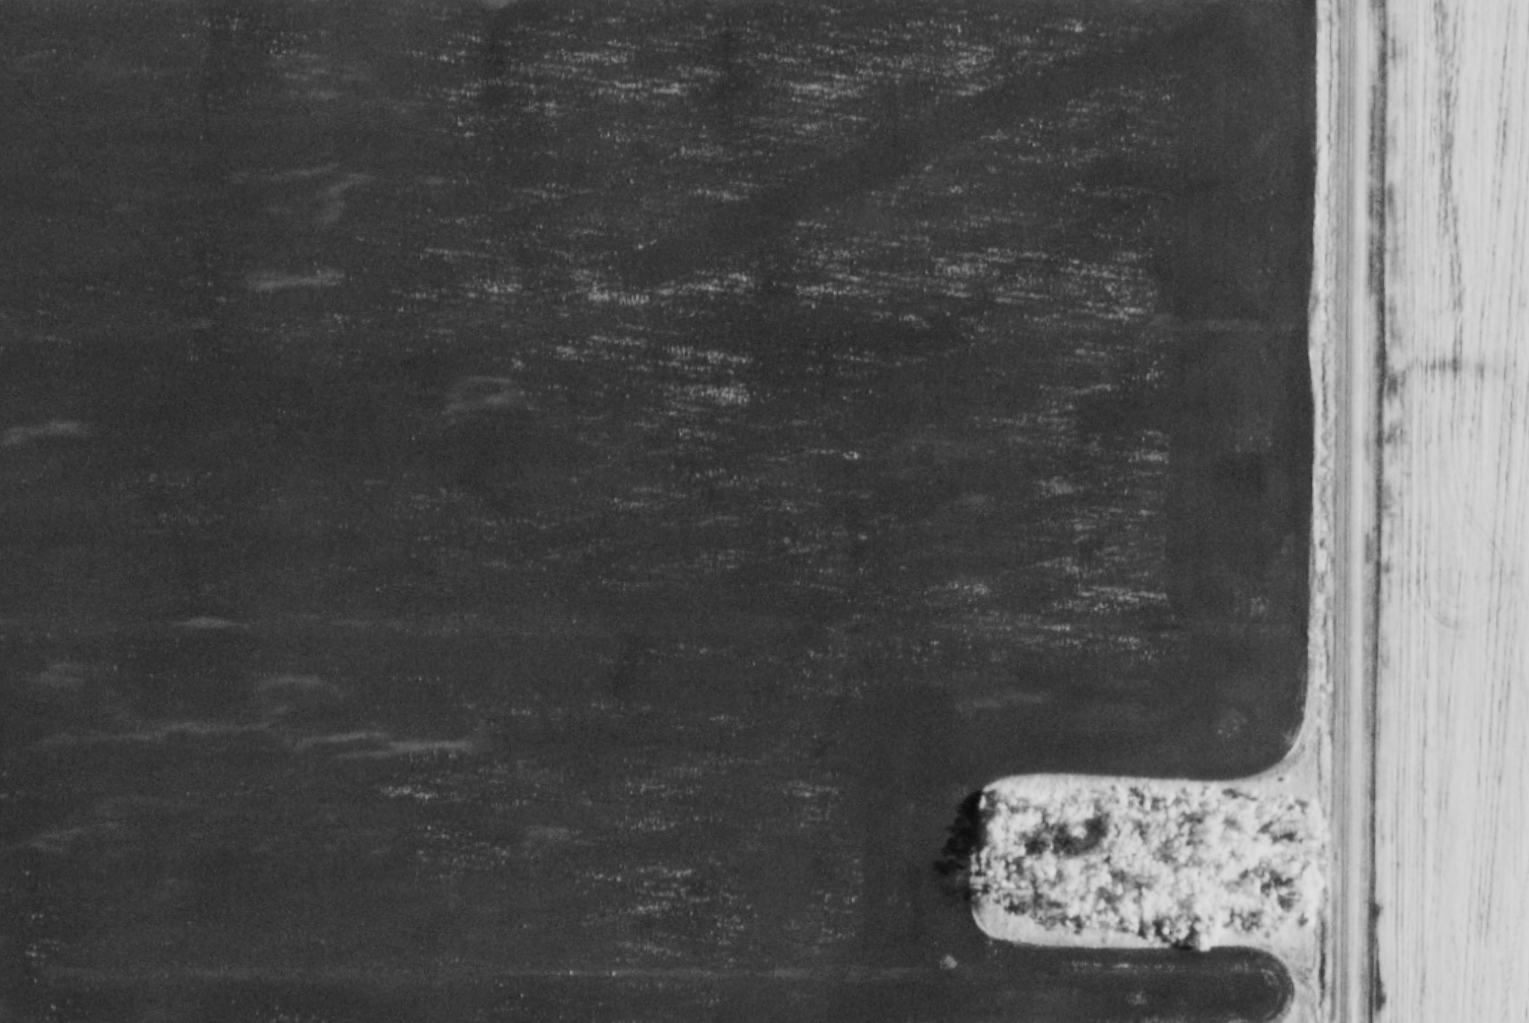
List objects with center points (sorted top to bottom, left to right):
road: (1347, 511)

